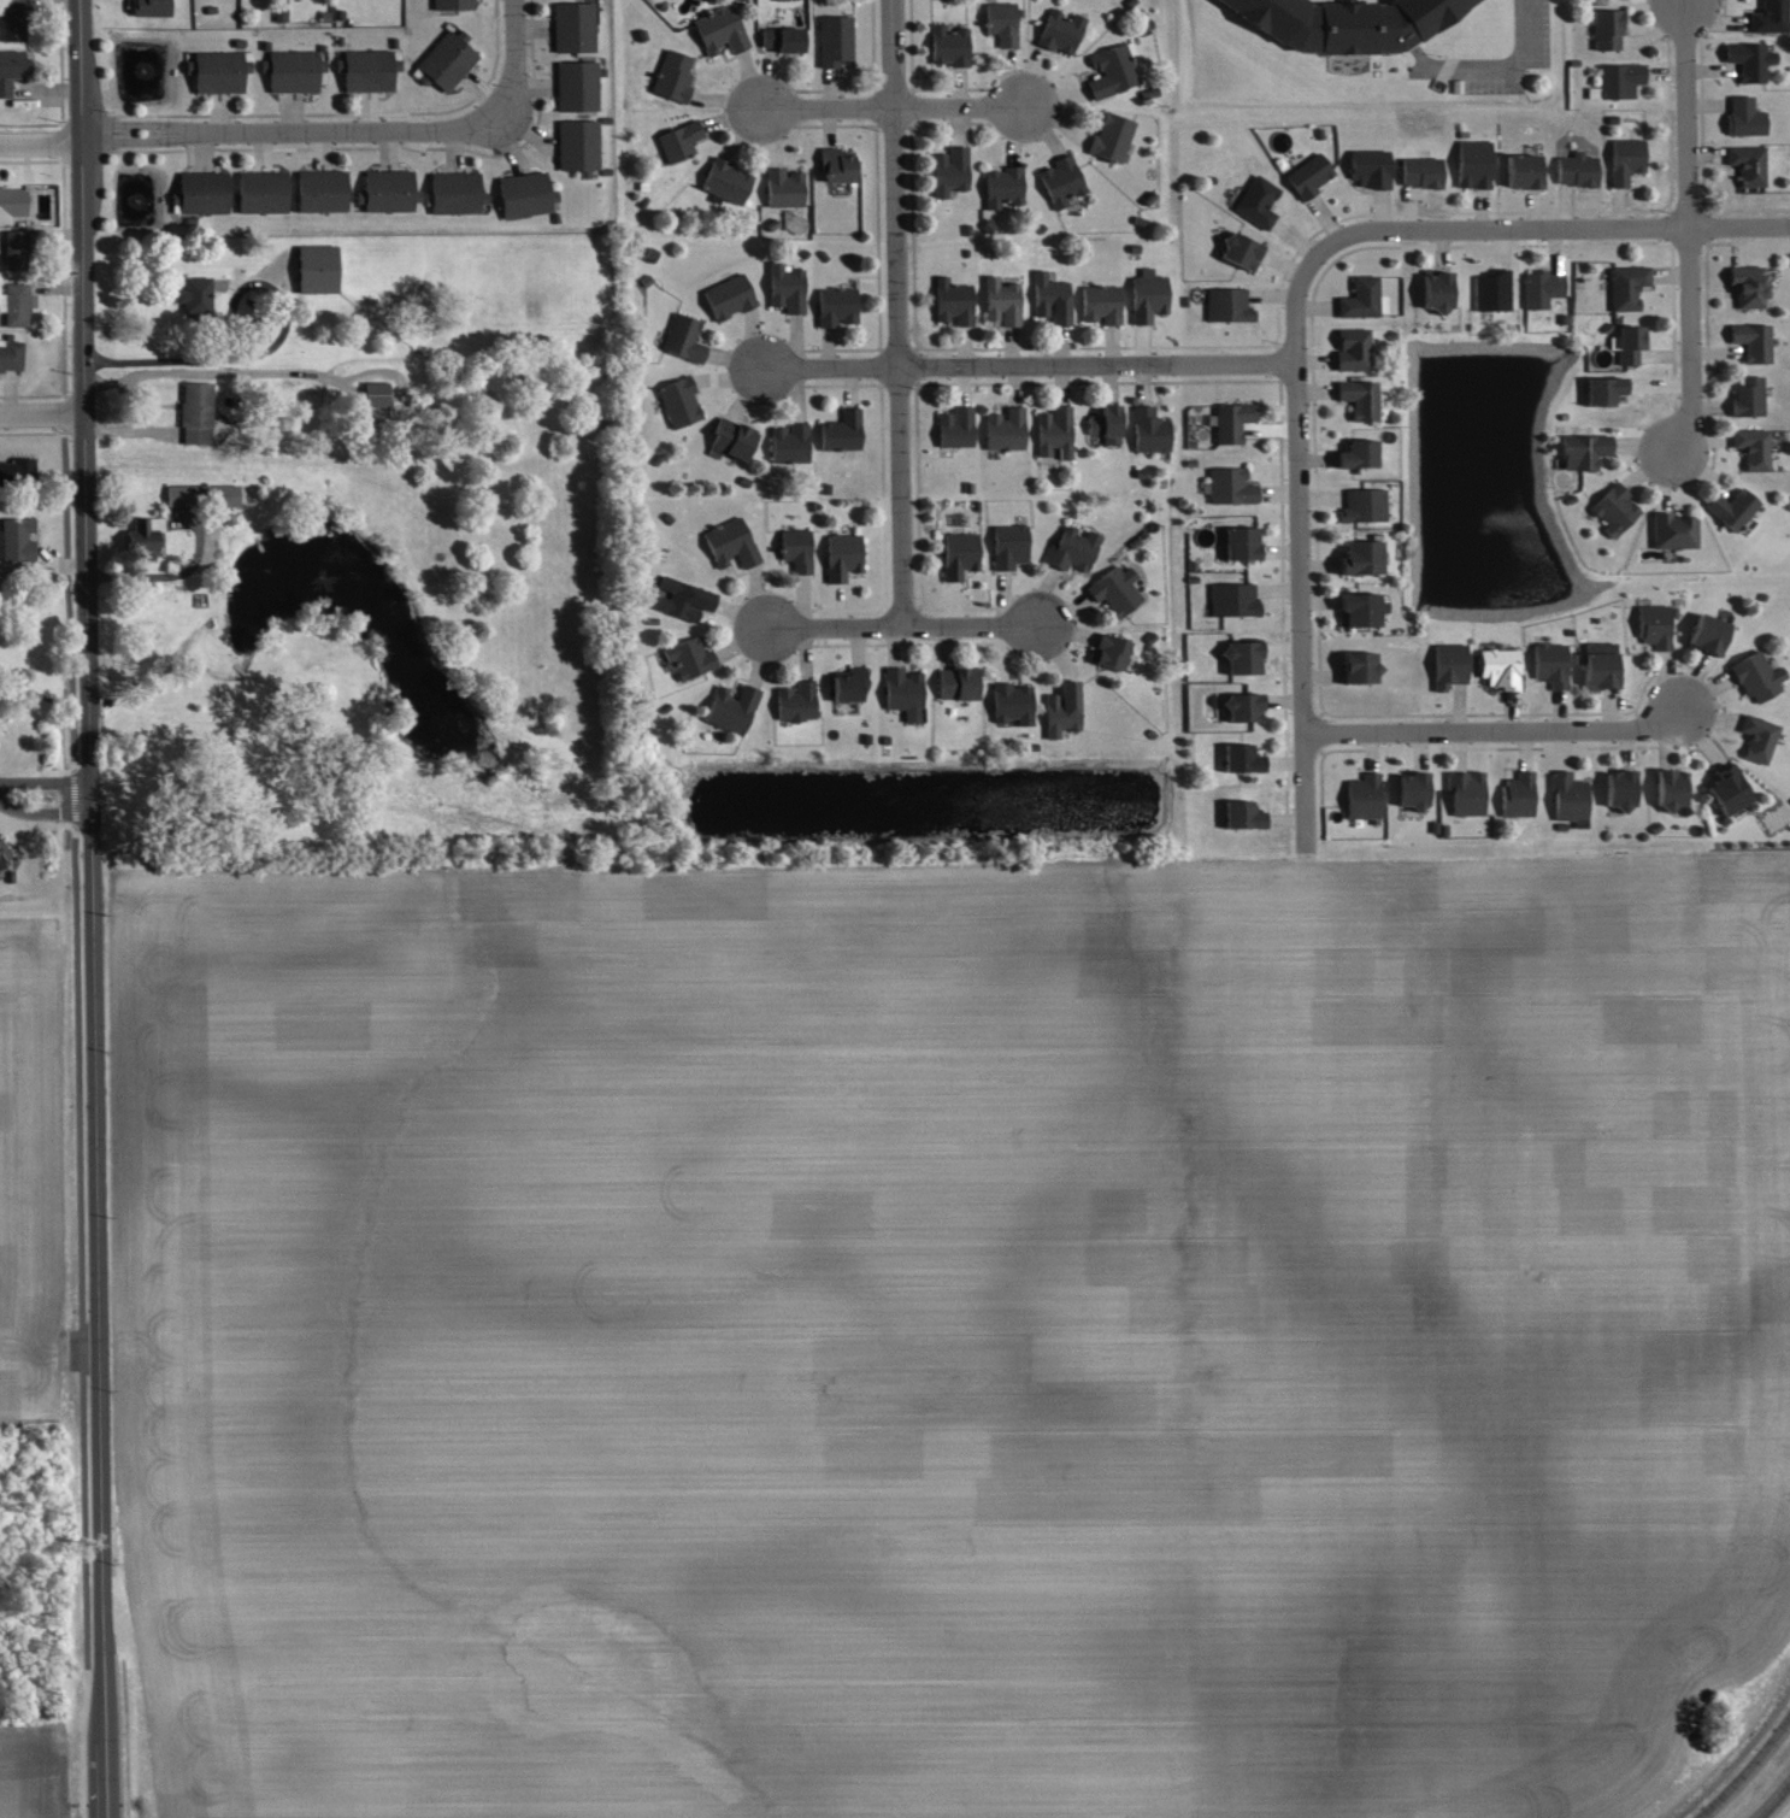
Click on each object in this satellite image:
building: (453, 5)
building: (152, 8)
building: (1771, 17)
building: (12, 22)
building: (1002, 22)
building: (1346, 22)
building: (573, 28)
building: (1607, 28)
building: (720, 30)
building: (1060, 30)
building: (783, 37)
building: (836, 40)
building: (948, 45)
building: (1750, 59)
building: (444, 61)
road: (1506, 69)
building: (10, 70)
building: (293, 70)
building: (367, 70)
building: (1111, 70)
building: (217, 71)
building: (673, 75)
building: (1618, 81)
building: (577, 84)
road: (956, 106)
road: (824, 107)
building: (1745, 116)
road: (513, 125)
road: (343, 131)
building: (1112, 135)
building: (679, 140)
road: (39, 145)
building: (578, 145)
building: (1626, 159)
building: (1473, 164)
building: (1748, 164)
building: (837, 165)
building: (1370, 166)
building: (1523, 169)
building: (1578, 169)
building: (949, 170)
building: (1421, 171)
building: (1309, 175)
building: (1061, 180)
building: (726, 181)
building: (1002, 186)
building: (784, 187)
building: (320, 190)
building: (388, 190)
building: (201, 192)
building: (261, 192)
building: (454, 192)
building: (524, 194)
building: (1258, 201)
building: (11, 204)
road: (1688, 225)
building: (1241, 248)
building: (16, 249)
building: (317, 269)
road: (242, 277)
building: (787, 287)
building: (1627, 287)
building: (1749, 287)
building: (1542, 288)
building: (1437, 289)
building: (1492, 290)
building: (193, 294)
building: (1148, 295)
building: (729, 296)
building: (1050, 298)
building: (1360, 298)
building: (1002, 300)
building: (953, 301)
building: (16, 304)
building: (1101, 304)
building: (1229, 304)
building: (836, 305)
road: (1294, 305)
road: (894, 312)
building: (683, 336)
building: (1754, 341)
building: (1629, 342)
building: (1353, 349)
building: (11, 354)
road: (141, 359)
road: (1028, 361)
building: (1604, 389)
building: (375, 394)
building: (1748, 395)
building: (1360, 399)
building: (679, 401)
road: (40, 411)
building: (196, 412)
building: (1232, 420)
building: (1106, 423)
building: (955, 426)
building: (1006, 429)
building: (1149, 429)
building: (842, 430)
building: (1055, 431)
building: (731, 437)
building: (790, 443)
building: (1754, 448)
building: (1584, 451)
building: (1359, 453)
building: (18, 469)
building: (1230, 486)
building: (1364, 505)
building: (1733, 508)
building: (1615, 510)
building: (1674, 530)
building: (145, 535)
building: (18, 541)
building: (1241, 541)
building: (730, 543)
building: (1009, 545)
building: (796, 548)
building: (1073, 548)
building: (959, 554)
building: (842, 555)
building: (1361, 557)
road: (171, 572)
building: (1115, 589)
building: (683, 599)
building: (1233, 599)
building: (1359, 608)
road: (900, 625)
building: (1655, 625)
building: (1709, 633)
building: (1601, 647)
building: (1109, 651)
building: (1243, 657)
building: (689, 658)
building: (1550, 664)
building: (1360, 665)
building: (1450, 665)
building: (1500, 666)
building: (1601, 670)
building: (1756, 676)
building: (958, 683)
building: (849, 684)
building: (903, 692)
building: (796, 701)
building: (1012, 702)
building: (1243, 706)
building: (731, 708)
building: (1062, 708)
road: (1494, 728)
building: (1759, 739)
building: (1242, 758)
road: (43, 782)
building: (1413, 788)
building: (1621, 788)
building: (1671, 788)
building: (1729, 790)
building: (1467, 793)
building: (1518, 795)
building: (1364, 796)
building: (1568, 798)
road: (43, 812)
building: (1243, 814)
building: (4, 857)
road: (92, 908)
road: (1736, 1754)
road: (1747, 1771)
road: (1773, 1800)

